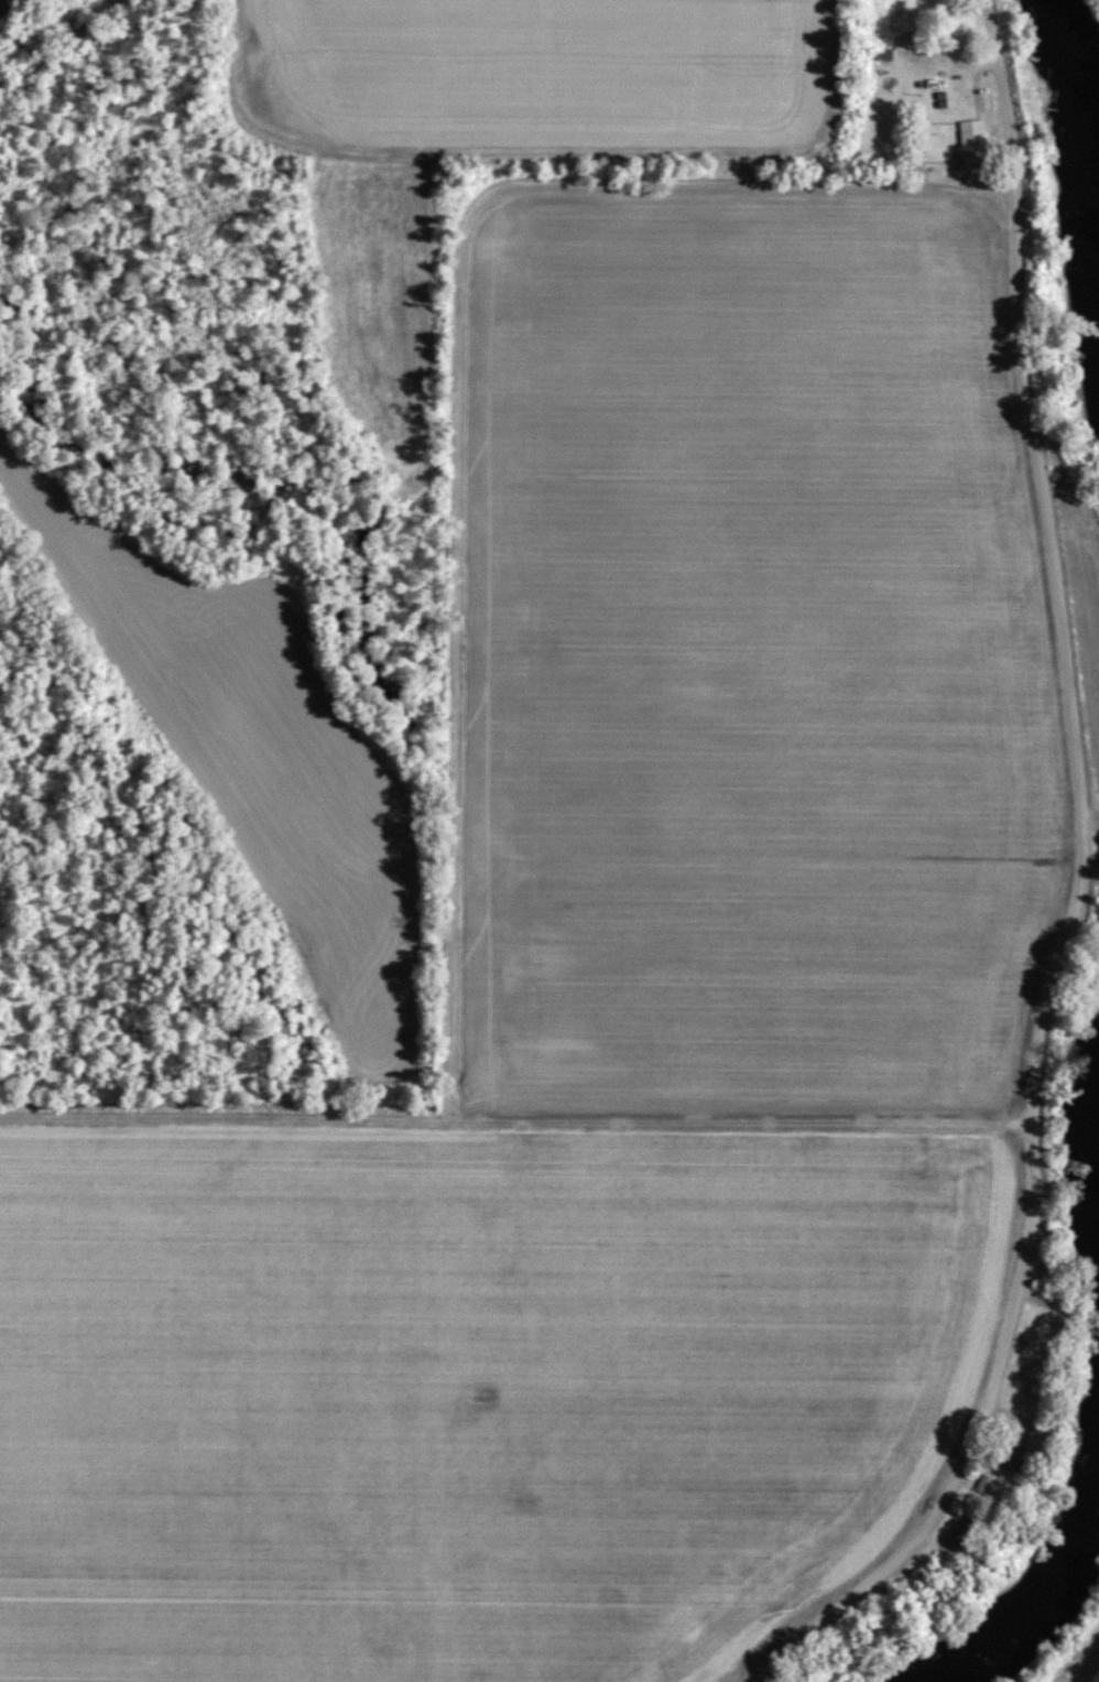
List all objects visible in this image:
building: (879, 52)
building: (972, 141)
river: (1076, 165)
road: (1079, 890)
building: (1013, 1457)
river: (1053, 1552)

